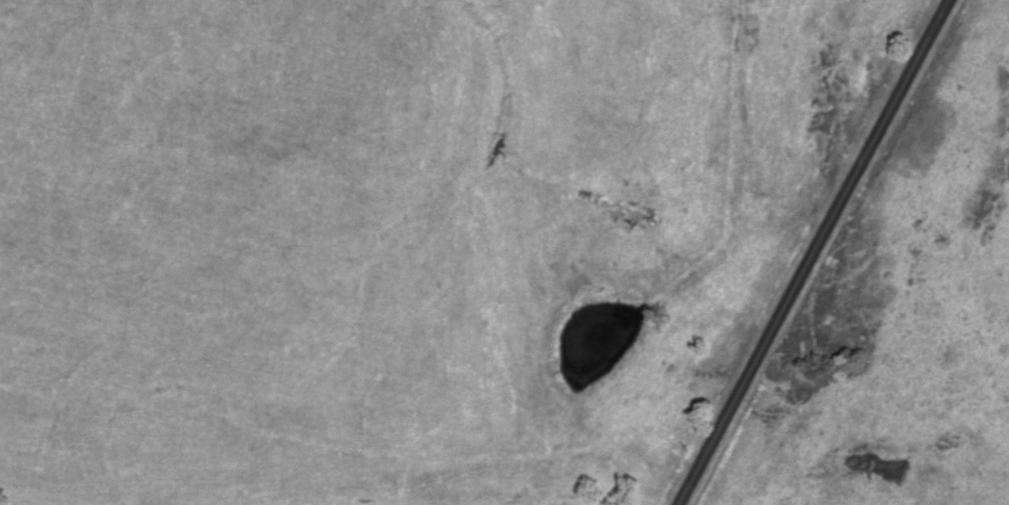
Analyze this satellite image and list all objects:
road: (813, 252)

